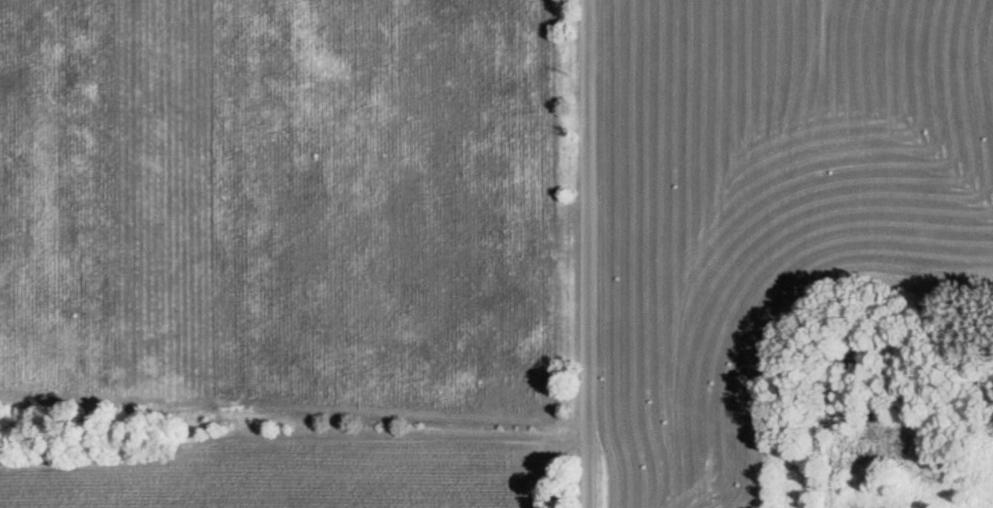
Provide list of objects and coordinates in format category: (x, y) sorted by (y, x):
road: (583, 254)

